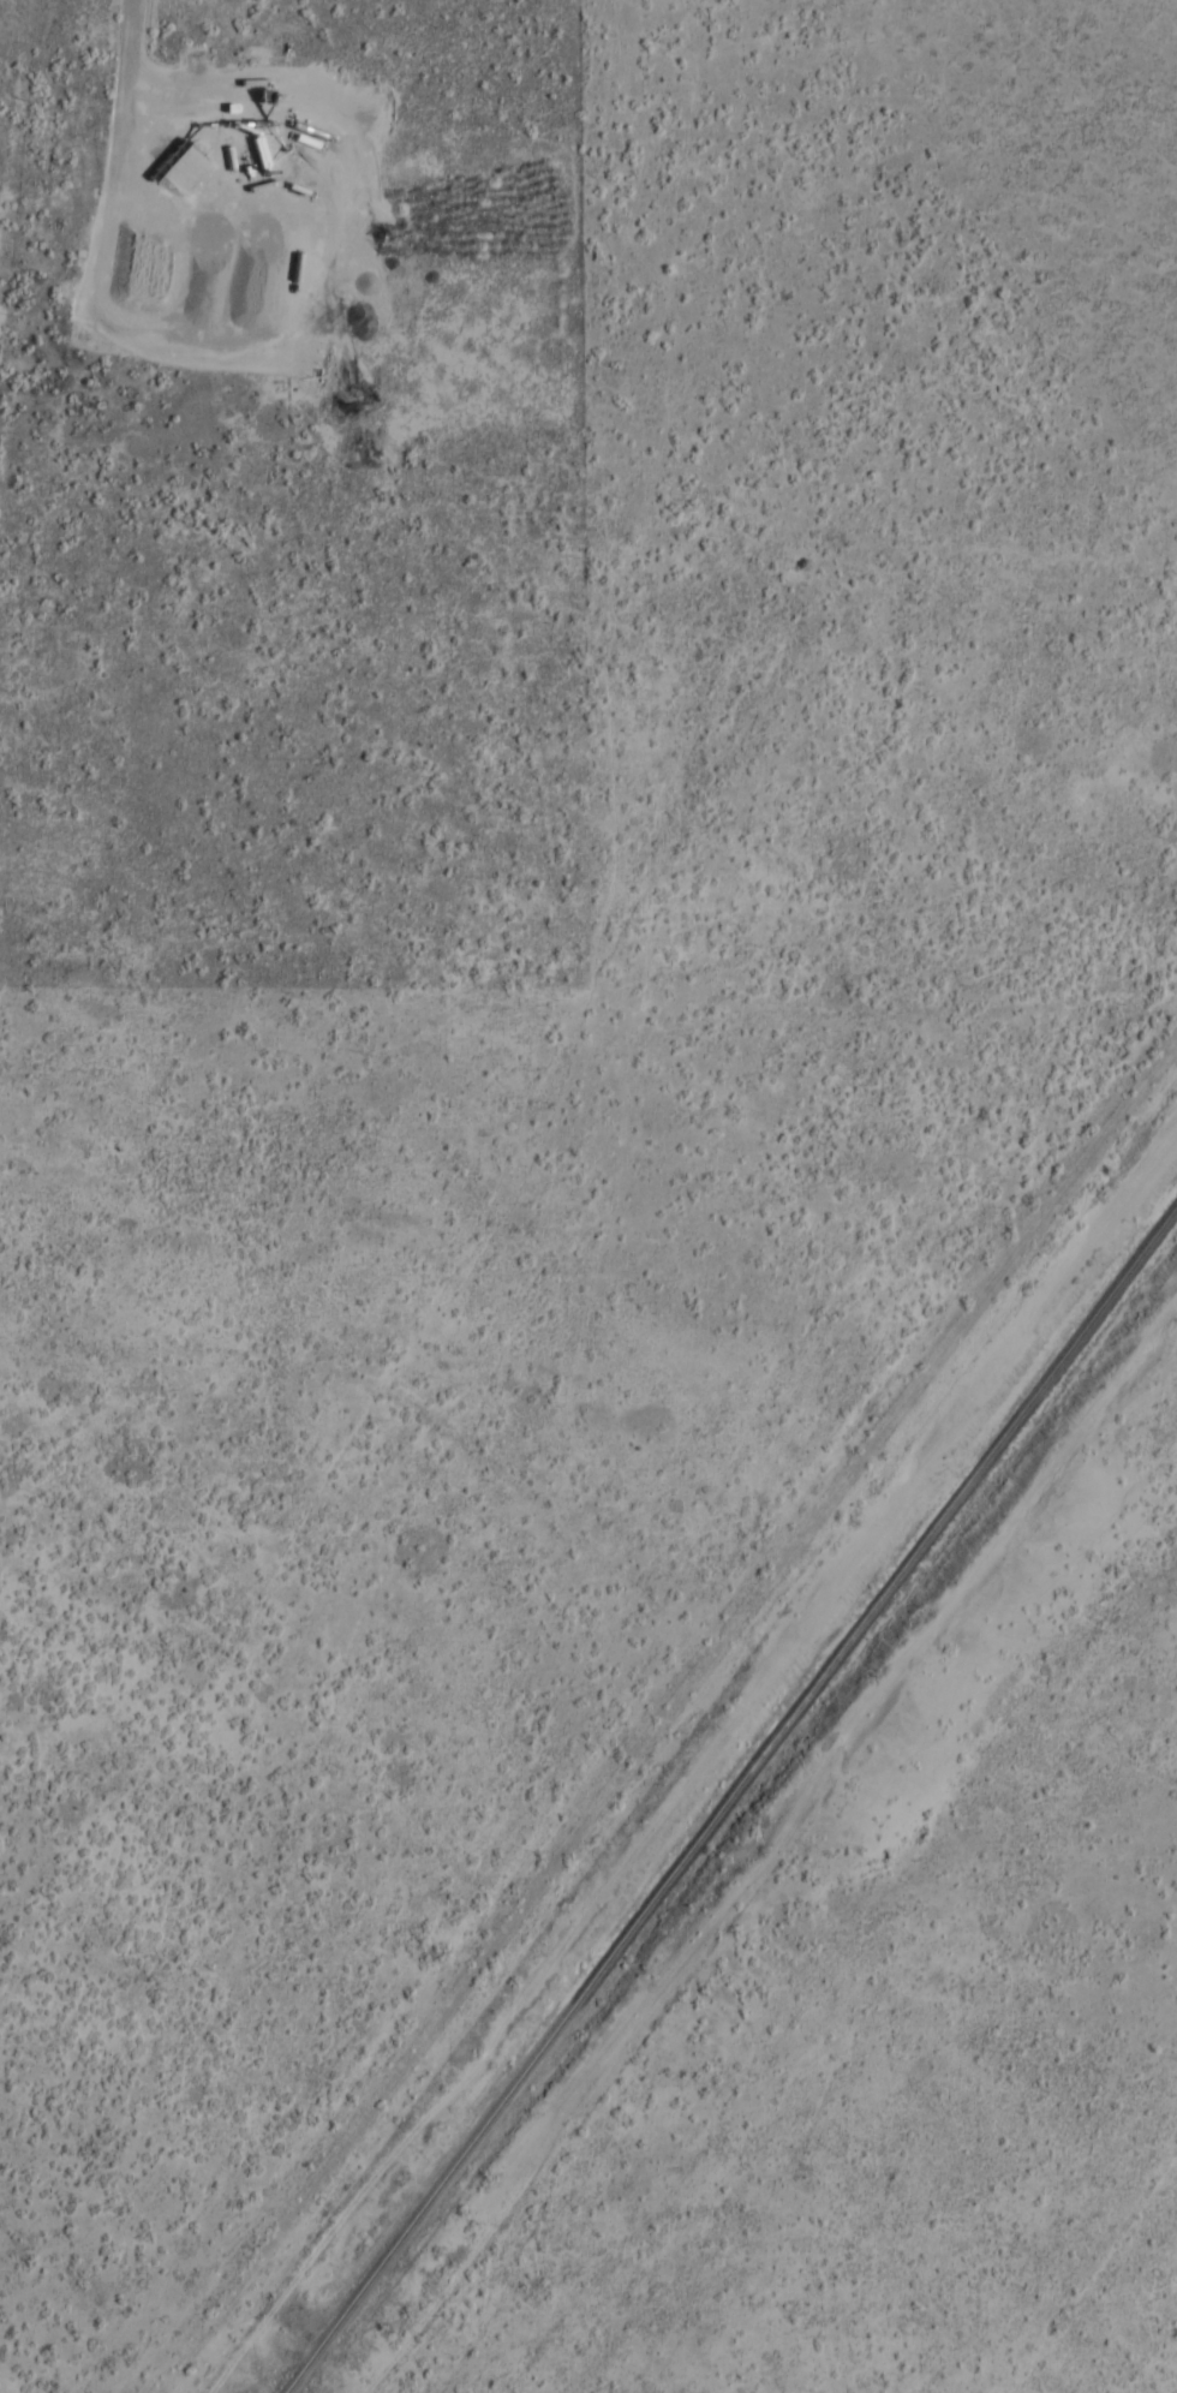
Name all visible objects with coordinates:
road: (709, 1658)
railway: (730, 1800)
road: (204, 2338)

